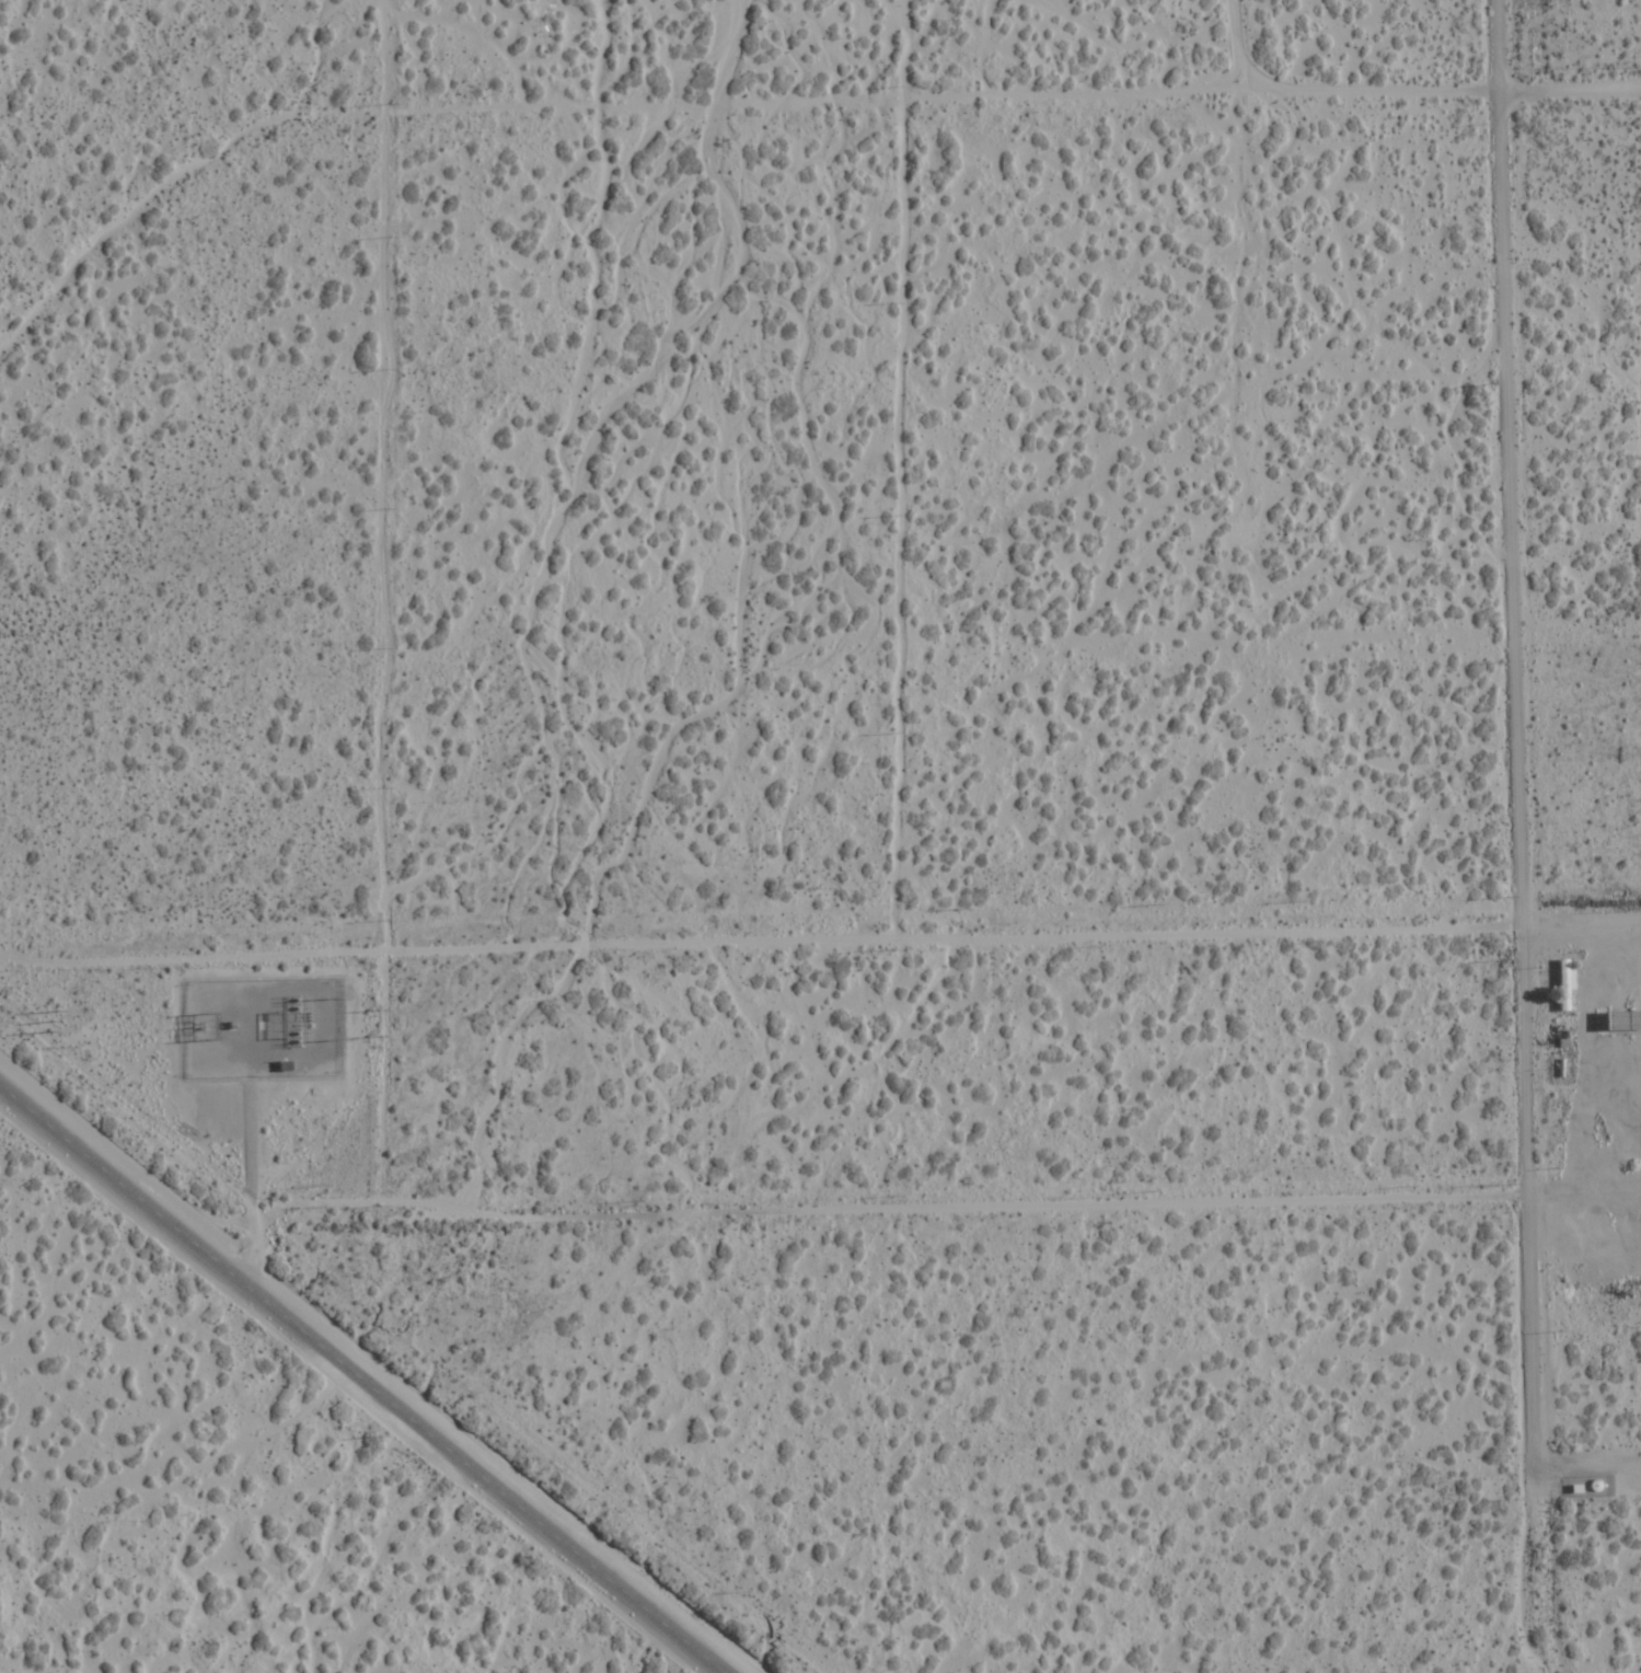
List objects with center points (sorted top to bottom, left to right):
road: (1234, 42)
road: (1499, 45)
road: (1183, 86)
road: (1519, 780)
road: (1395, 919)
building: (1563, 985)
power tower: (53, 1020)
power tower: (208, 1024)
power substation: (263, 1028)
building: (285, 1066)
road: (1382, 1182)
road: (361, 1378)
road: (1587, 1469)

